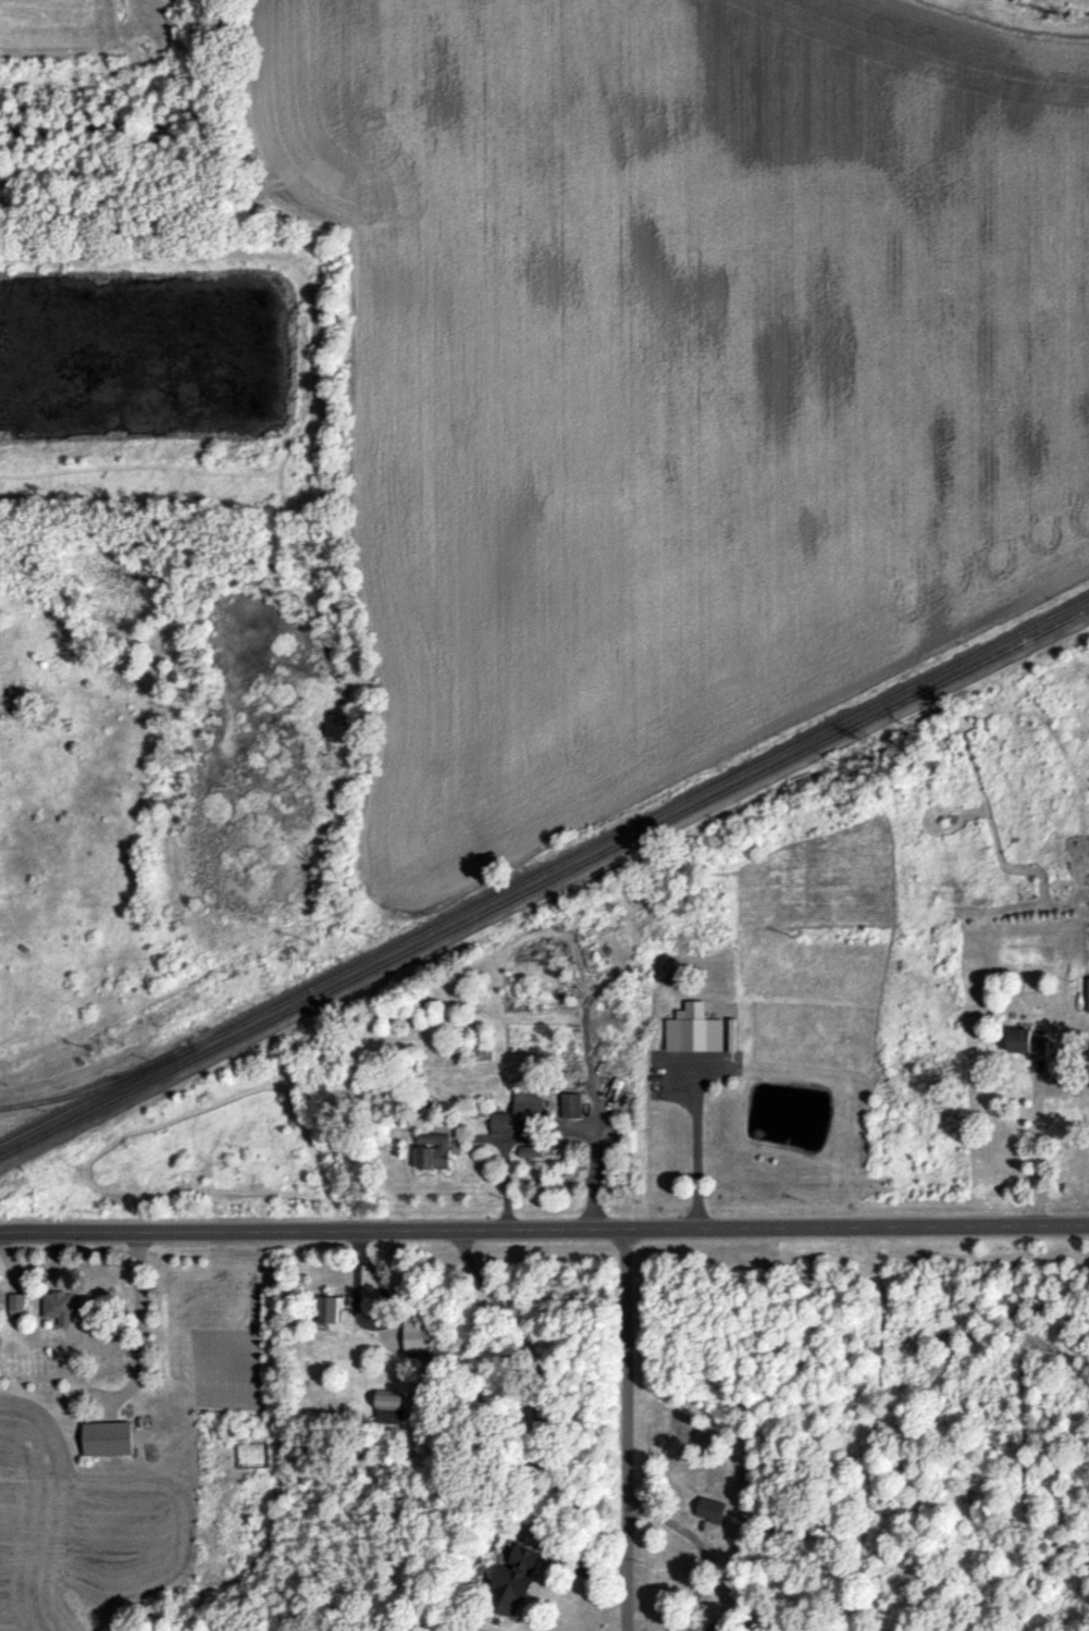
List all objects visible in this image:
railway: (544, 869)
railway: (544, 881)
building: (1087, 994)
building: (688, 1028)
building: (1026, 1042)
building: (617, 1085)
railway: (88, 1089)
building: (528, 1104)
building: (571, 1105)
building: (502, 1123)
road: (1035, 1127)
road: (695, 1142)
building: (434, 1150)
road: (593, 1173)
road: (544, 1230)
building: (16, 1305)
building: (59, 1307)
building: (327, 1308)
road: (366, 1317)
road: (137, 1319)
building: (419, 1334)
building: (389, 1406)
road: (536, 1423)
road: (624, 1430)
building: (108, 1437)
building: (710, 1509)
road: (700, 1546)
building: (515, 1581)

